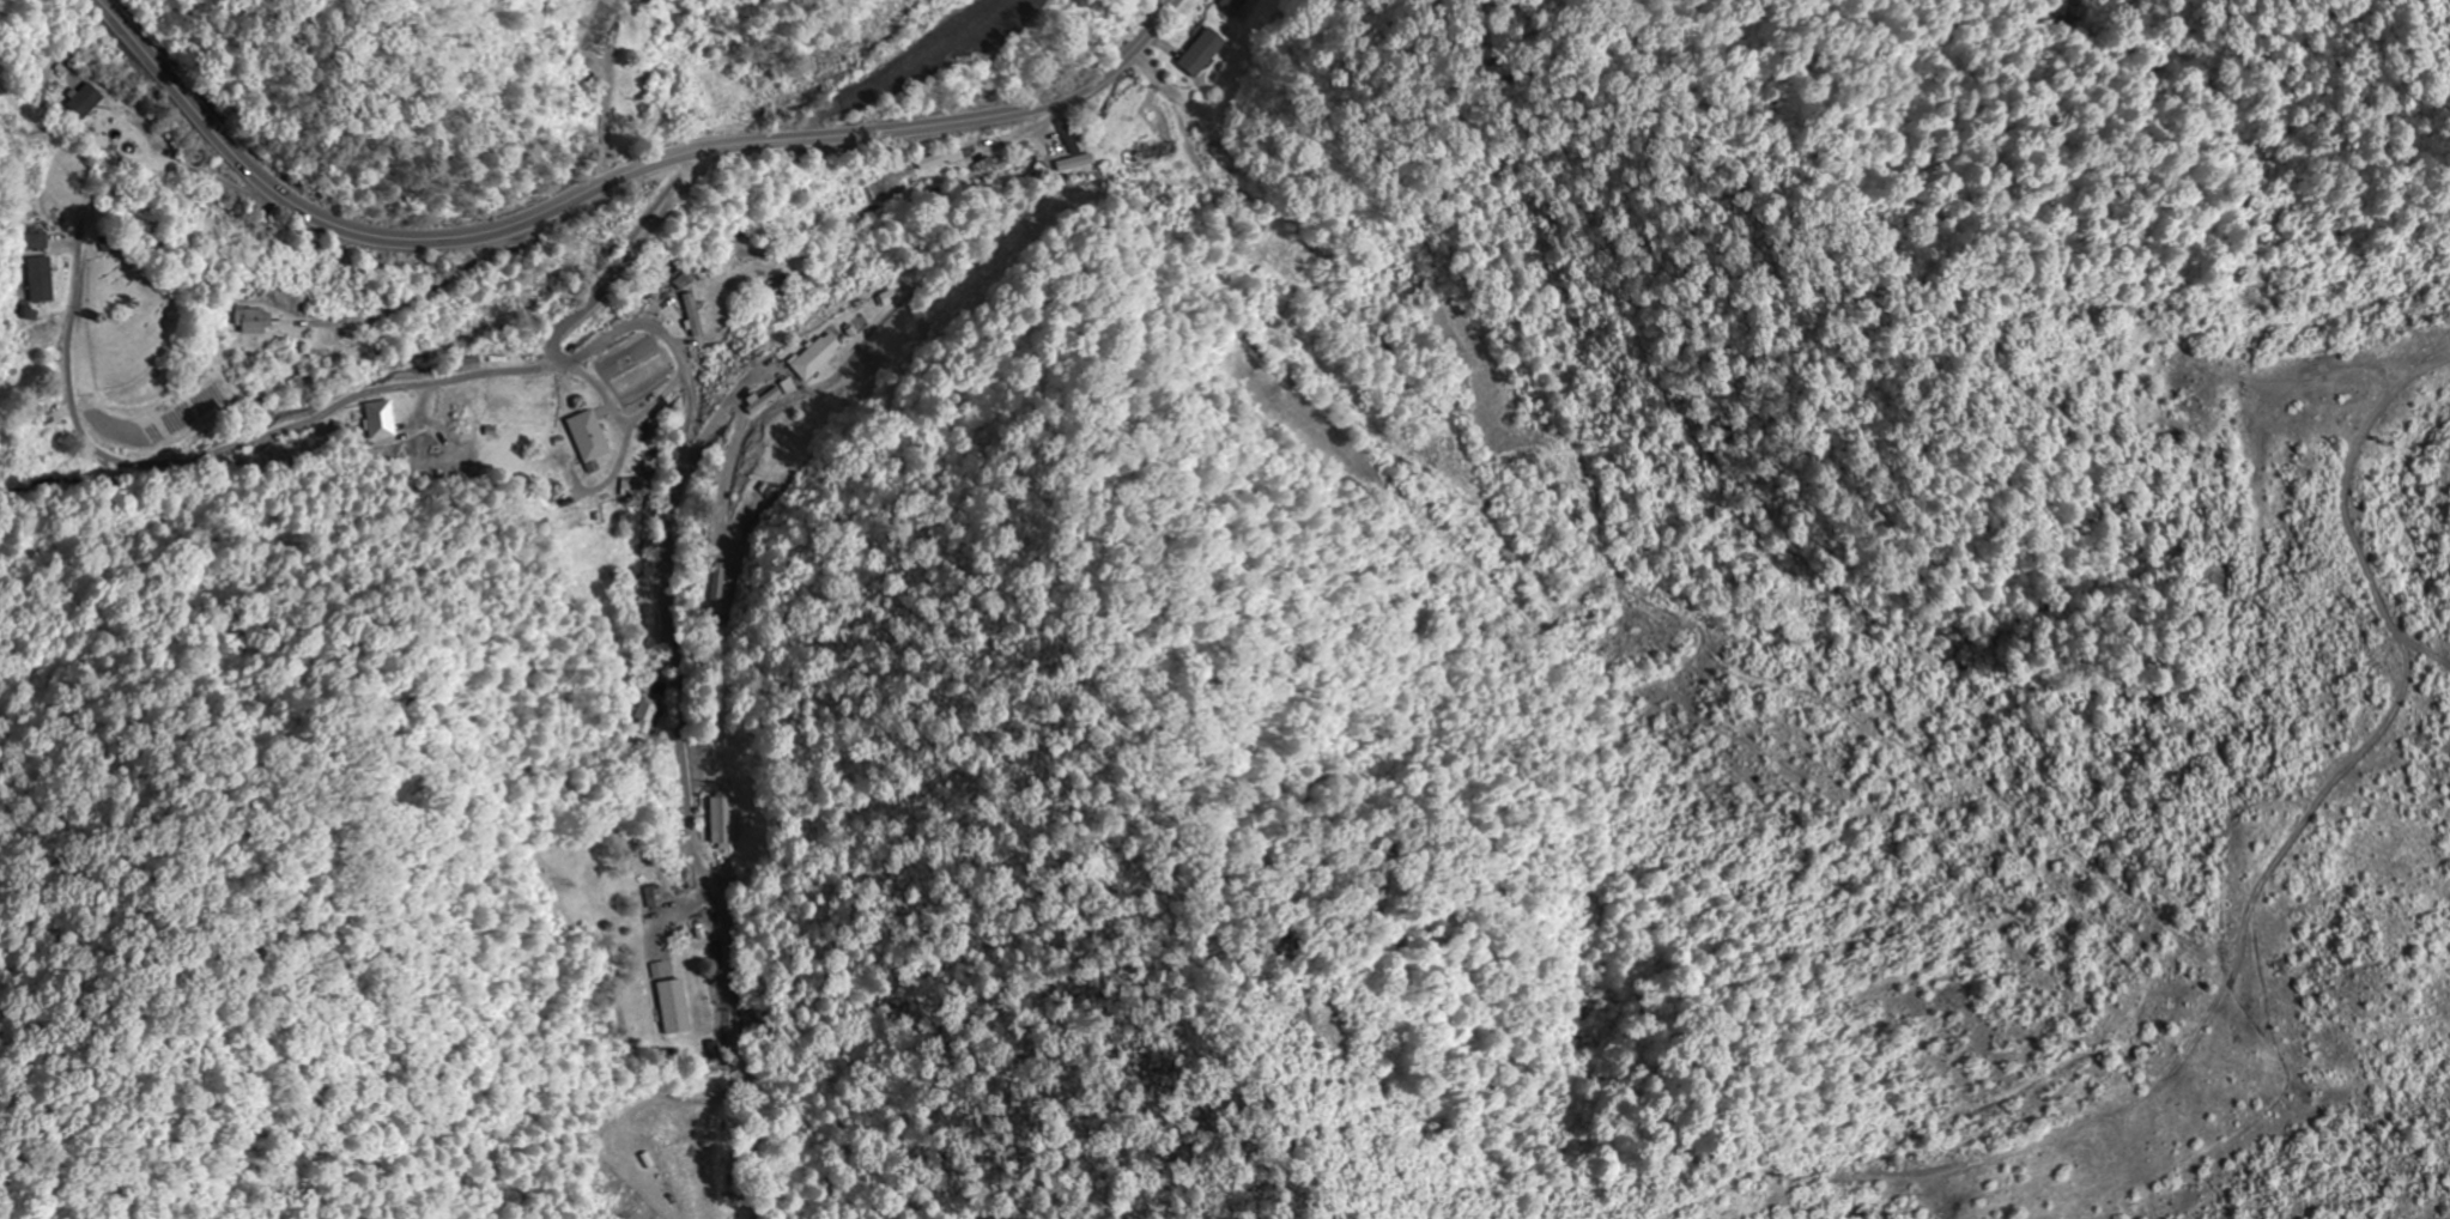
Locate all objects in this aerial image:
building: (1235, 6)
building: (607, 29)
building: (1205, 53)
building: (89, 102)
building: (1071, 138)
building: (1153, 153)
building: (944, 159)
road: (610, 182)
building: (40, 242)
building: (42, 280)
building: (696, 315)
building: (256, 321)
building: (819, 357)
building: (8, 378)
road: (454, 381)
building: (764, 399)
building: (383, 420)
building: (593, 436)
road: (678, 605)
building: (647, 716)
building: (720, 823)
building: (659, 896)
building: (679, 1007)

